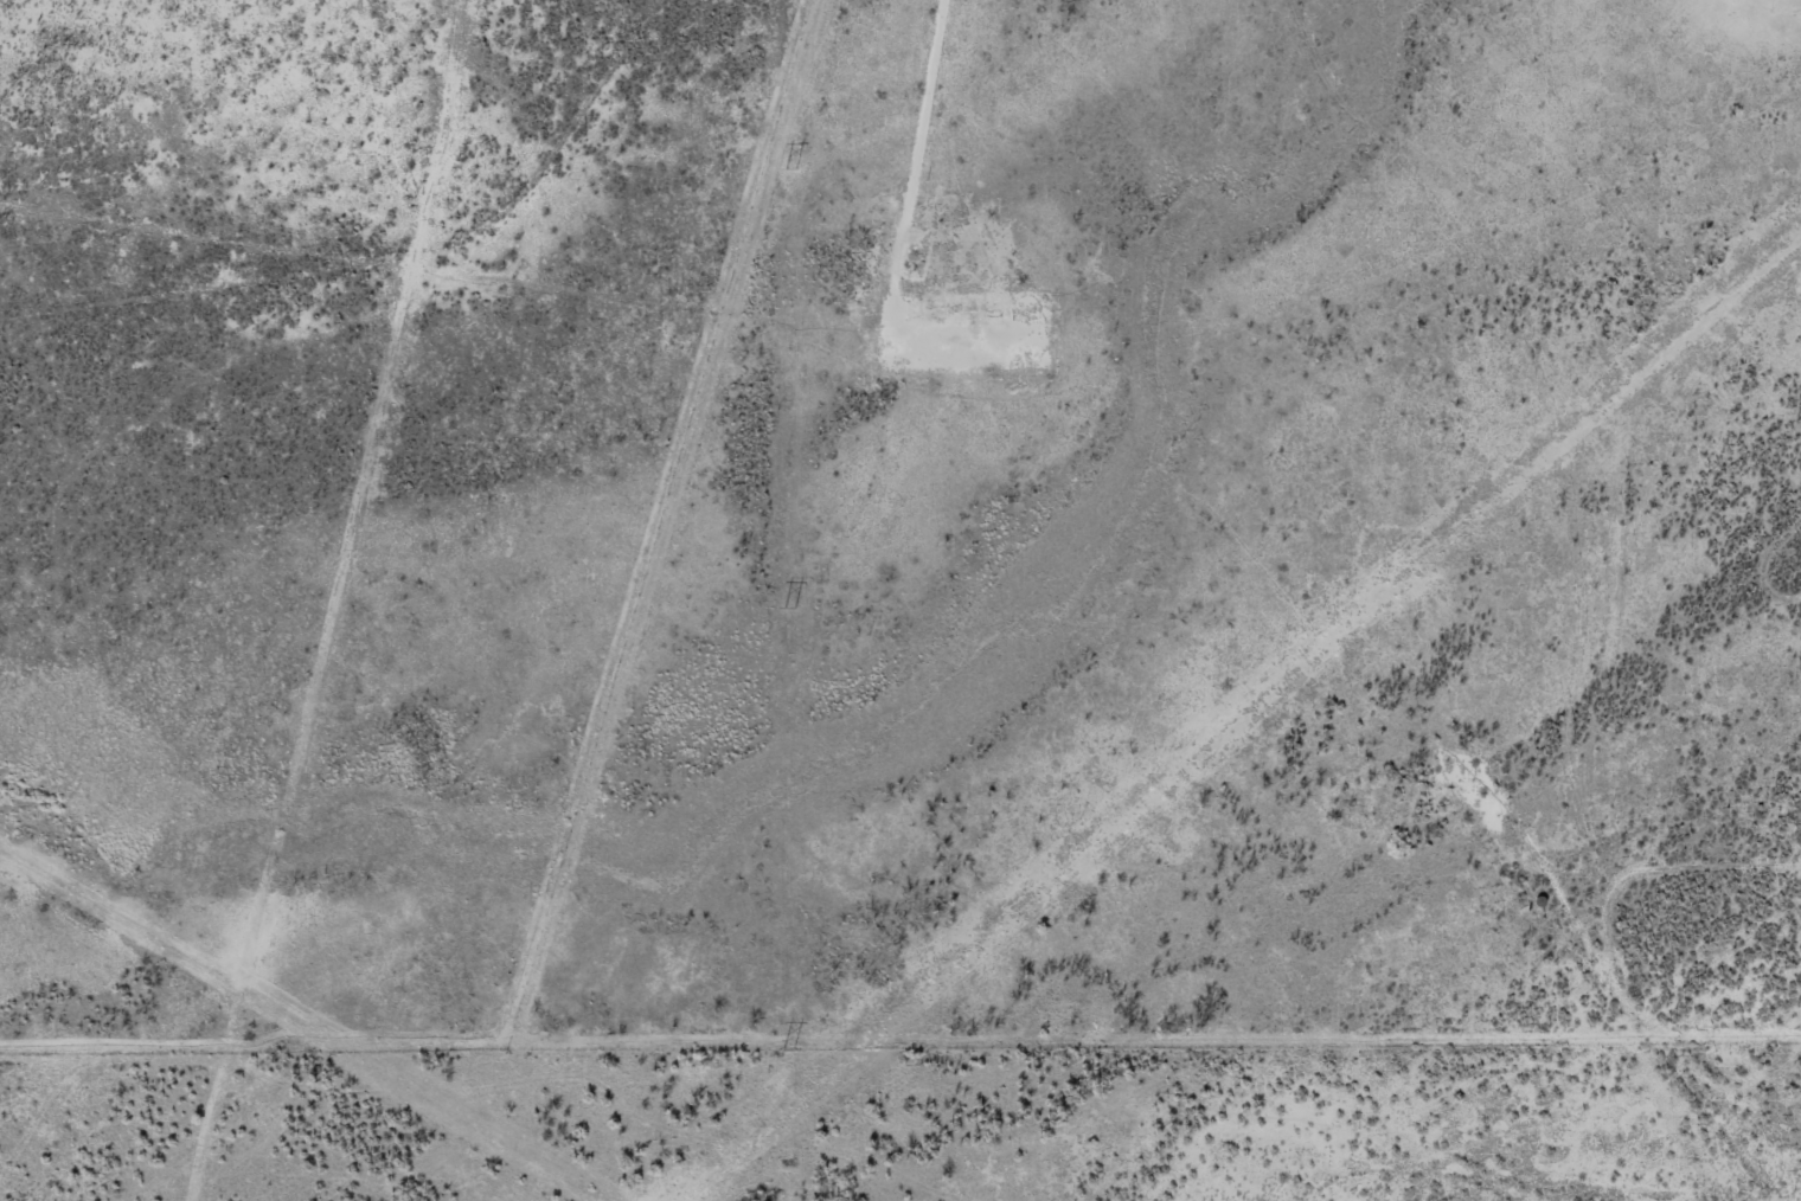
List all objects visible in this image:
power tower: (789, 169)
power tower: (786, 605)
road: (1651, 882)
power tower: (783, 1045)

